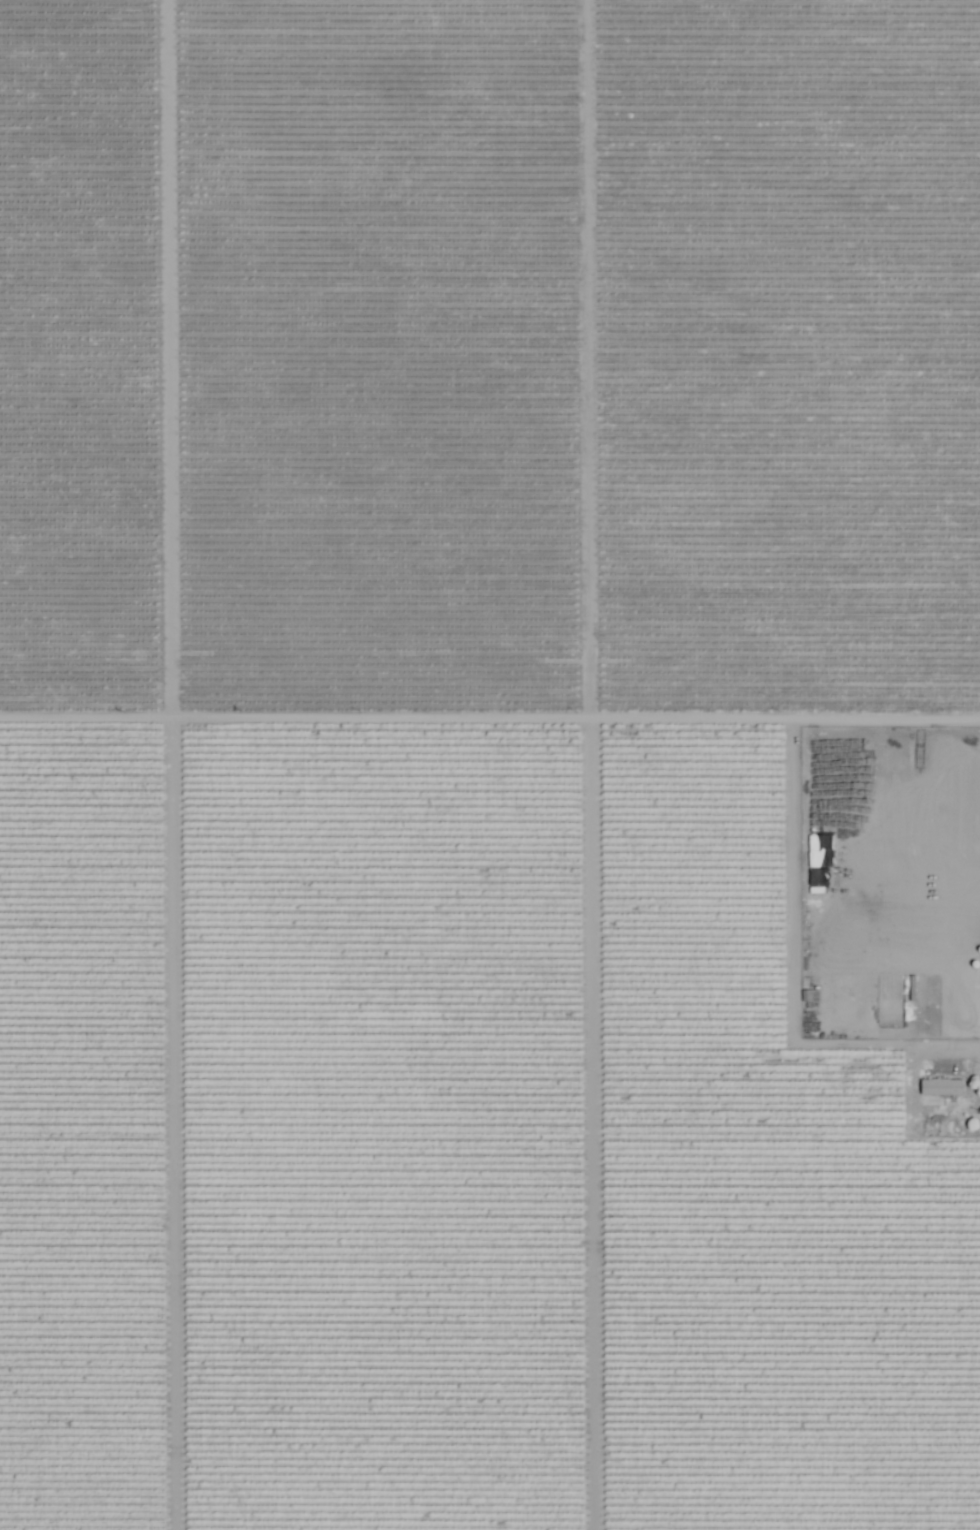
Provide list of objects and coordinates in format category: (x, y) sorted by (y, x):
building: (30, 679)
building: (820, 750)
crop: (490, 765)
building: (819, 785)
building: (945, 797)
building: (858, 801)
building: (852, 890)
building: (943, 890)
building: (949, 1068)
building: (941, 1086)

